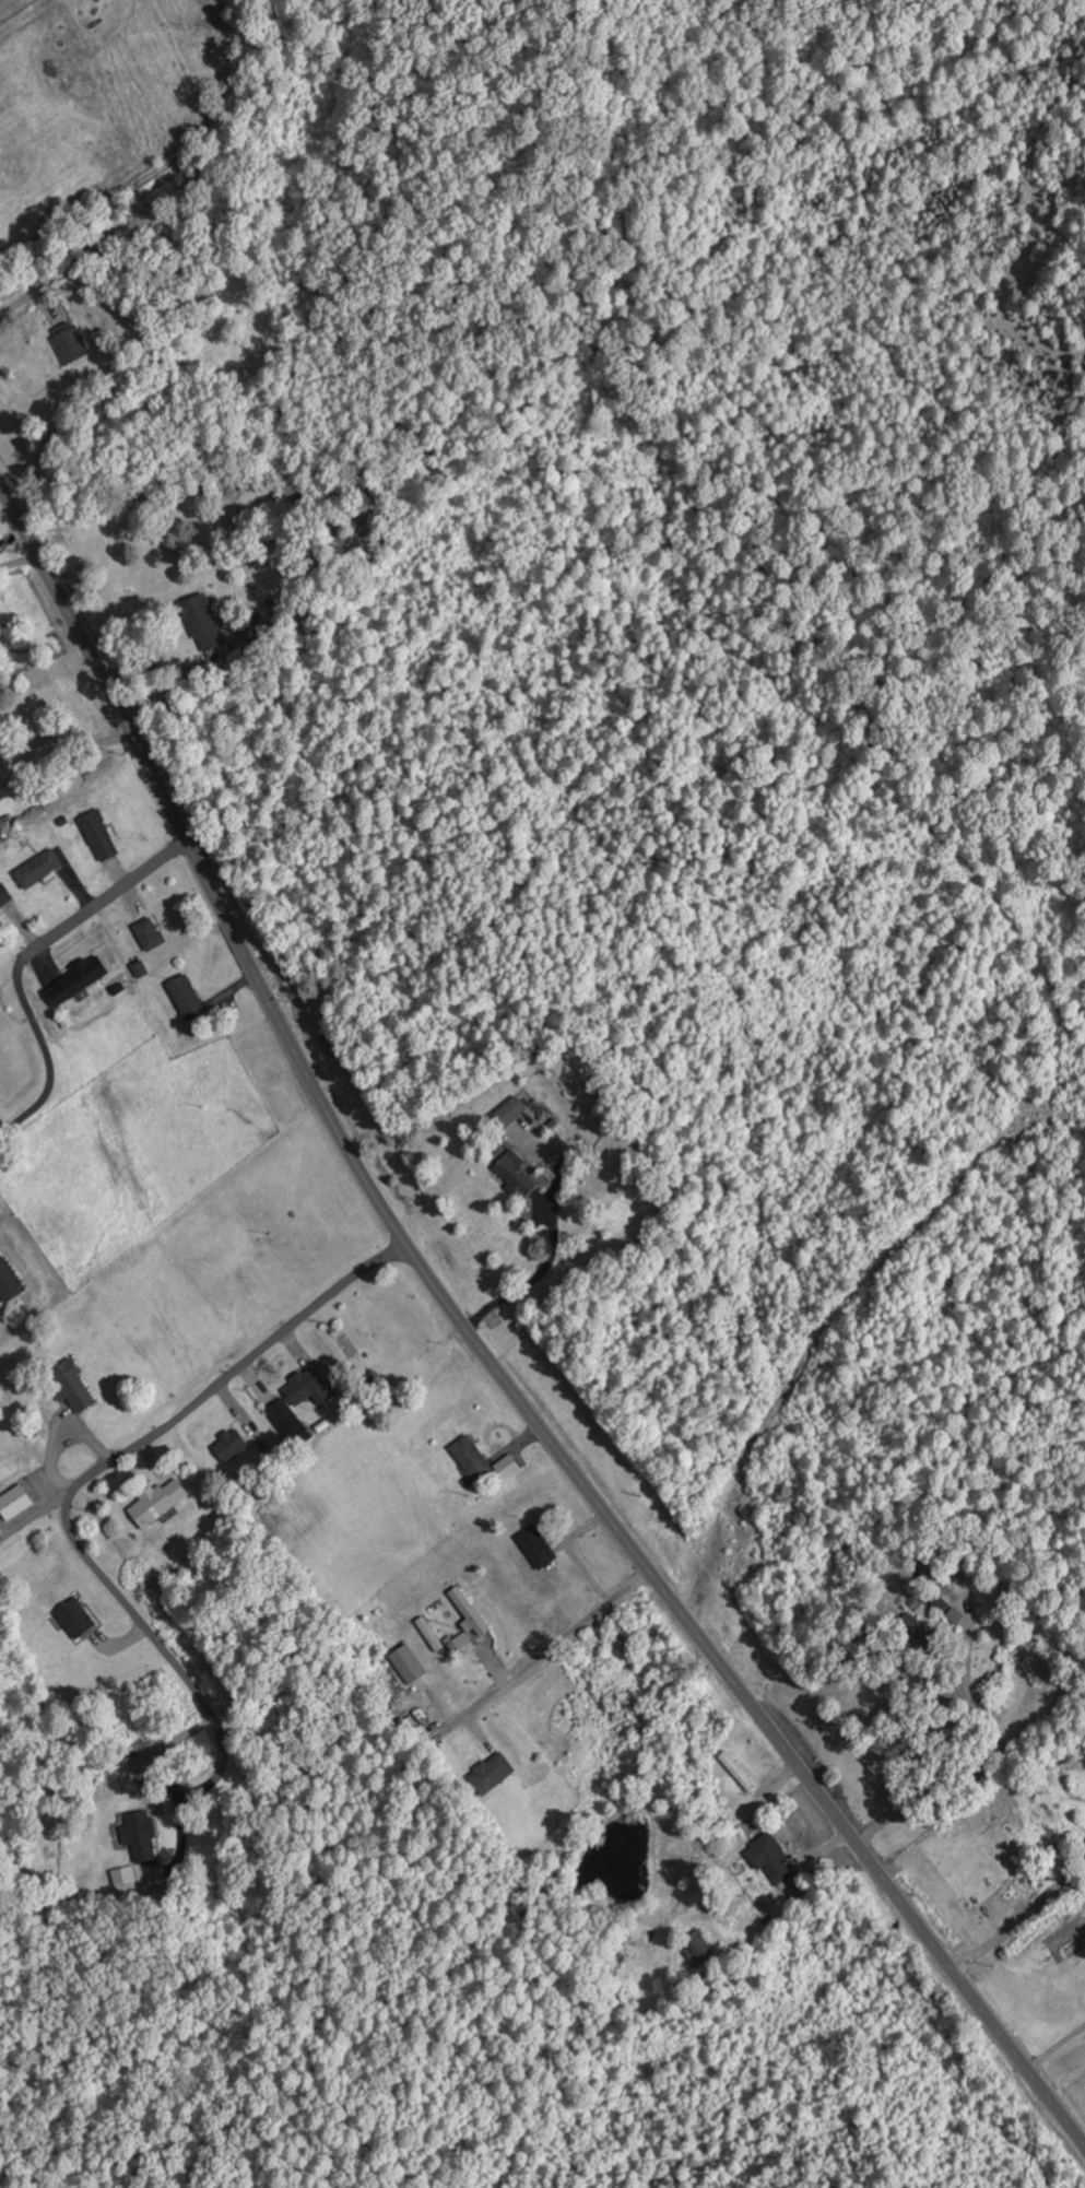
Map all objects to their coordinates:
building: (68, 342)
building: (201, 616)
building: (99, 834)
building: (38, 867)
building: (4, 894)
building: (149, 932)
road: (46, 939)
building: (78, 979)
building: (186, 996)
building: (510, 1111)
building: (515, 1174)
building: (9, 1281)
road: (484, 1353)
building: (73, 1386)
building: (307, 1388)
building: (285, 1418)
building: (233, 1443)
building: (471, 1457)
building: (507, 1467)
road: (92, 1475)
building: (14, 1502)
building: (157, 1502)
building: (536, 1546)
building: (75, 1618)
building: (468, 1620)
building: (429, 1633)
road: (546, 1655)
building: (408, 1663)
building: (492, 1773)
building: (140, 1836)
building: (769, 1857)
building: (1065, 1862)
building: (125, 1882)
building: (697, 1949)

